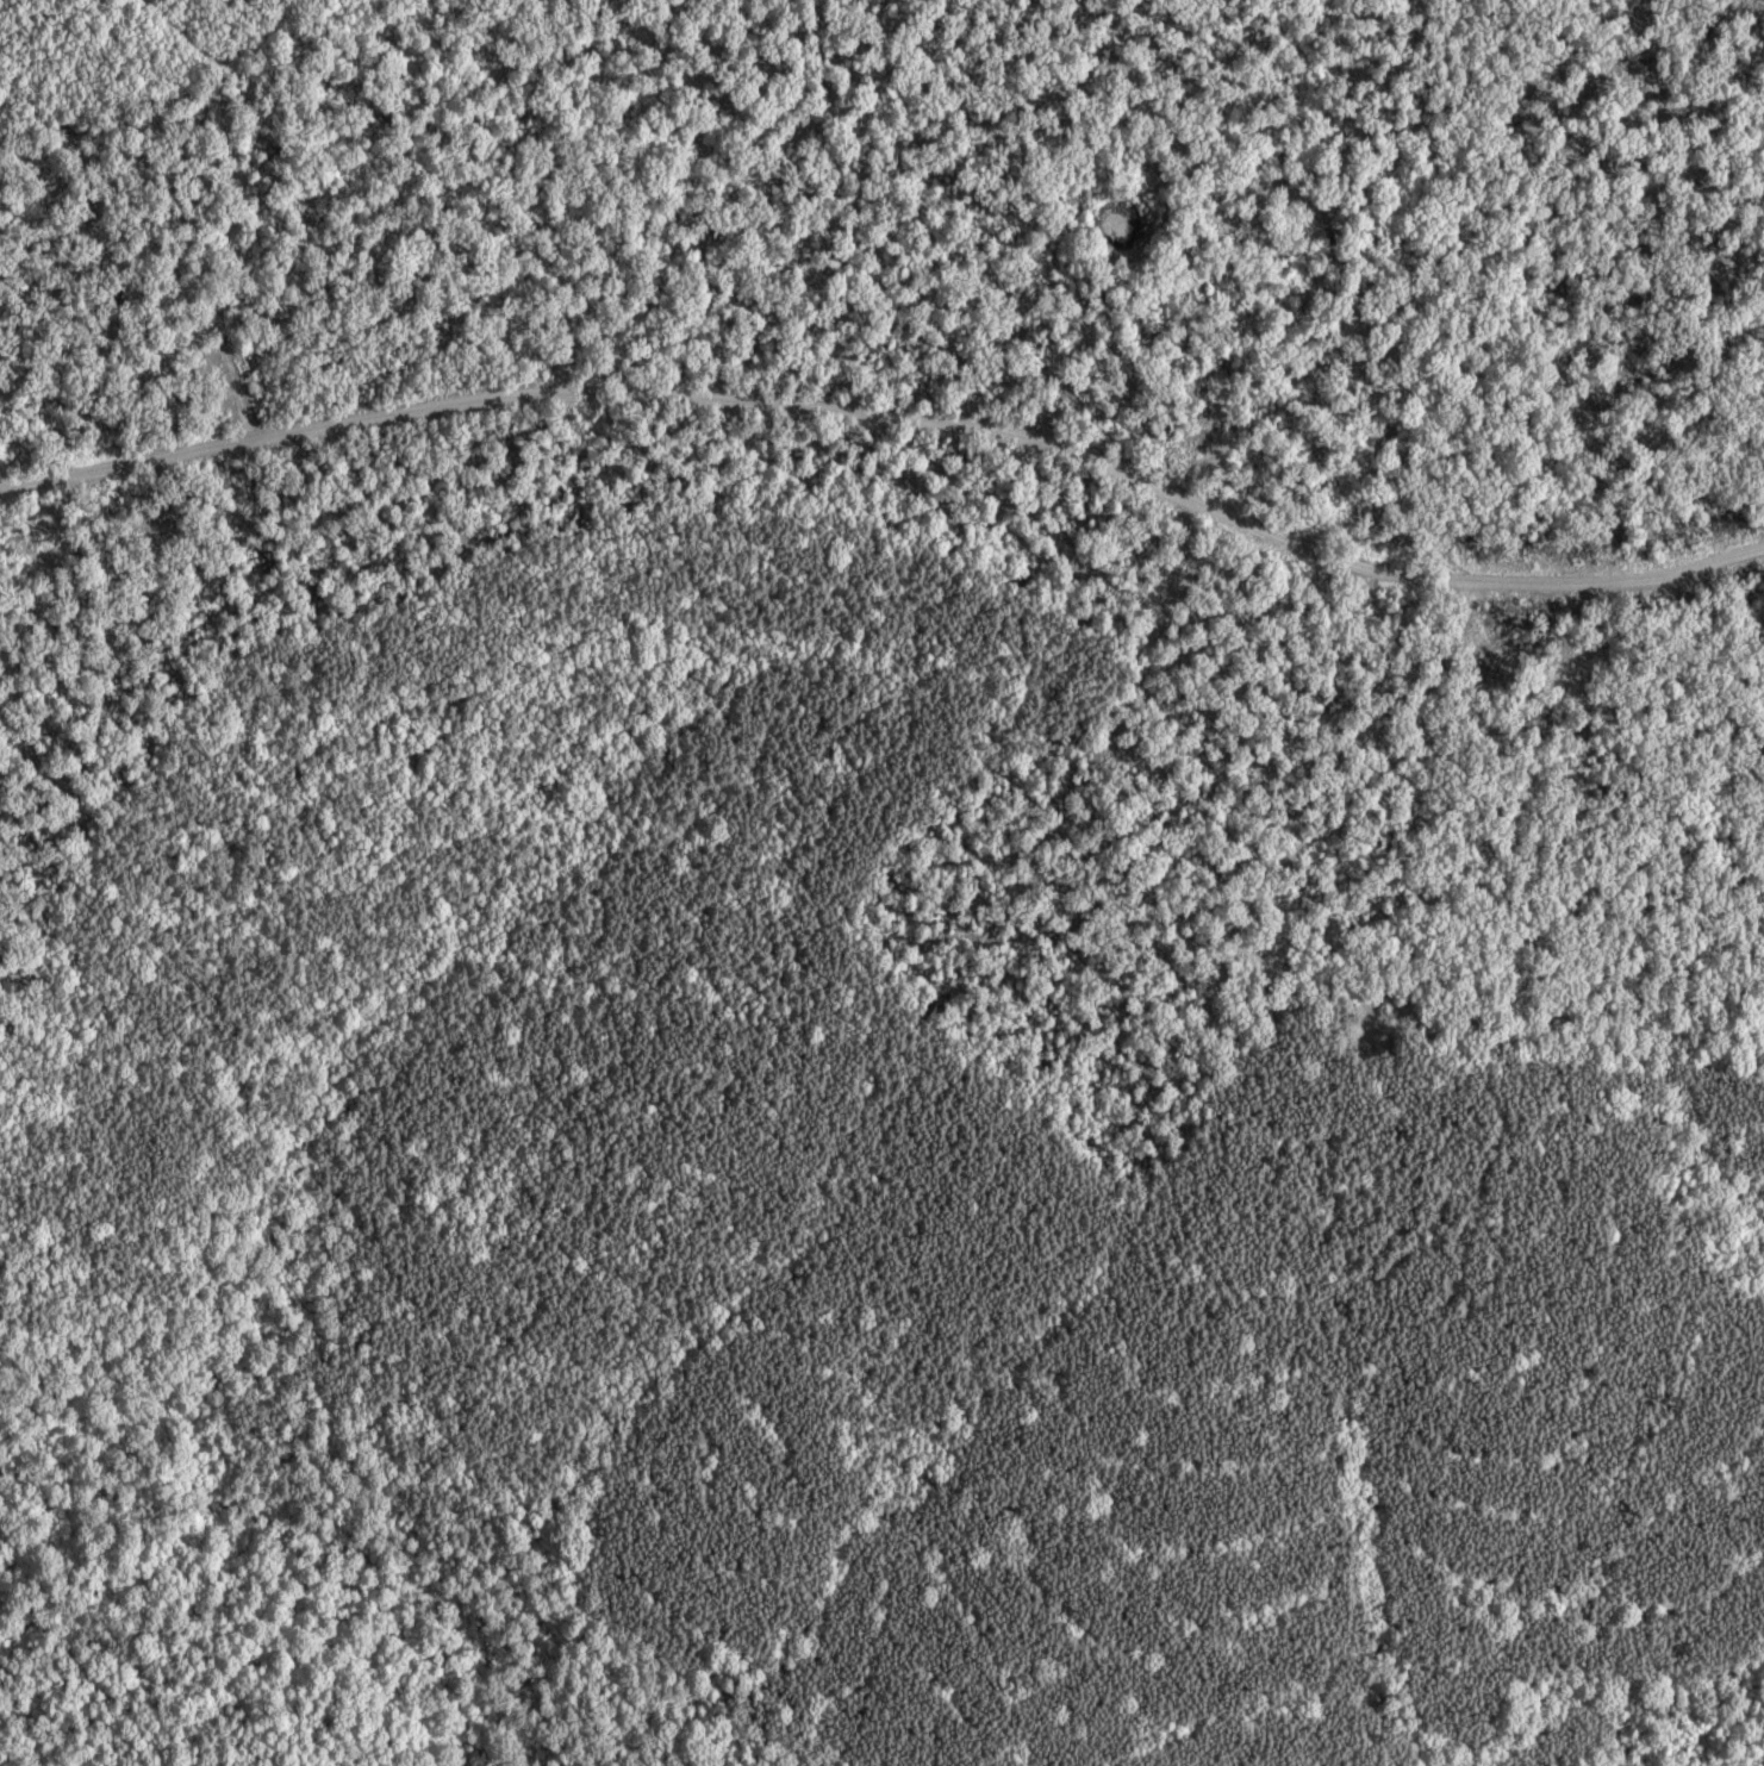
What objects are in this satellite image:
road: (772, 404)
road: (1653, 507)

